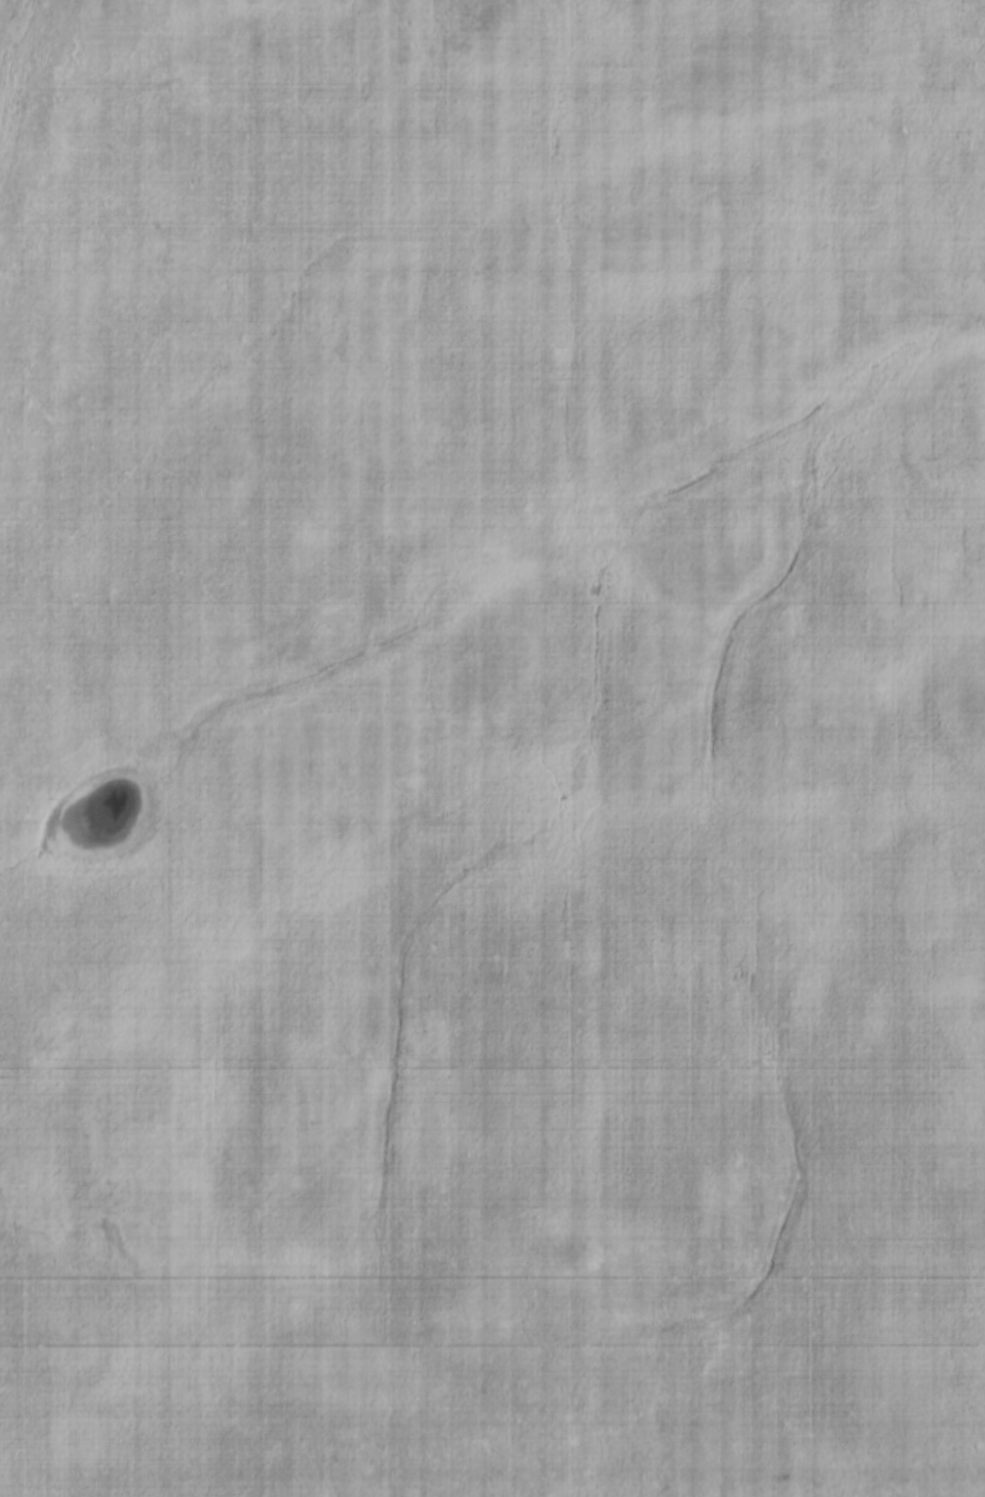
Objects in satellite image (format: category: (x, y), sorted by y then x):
road: (485, 159)

